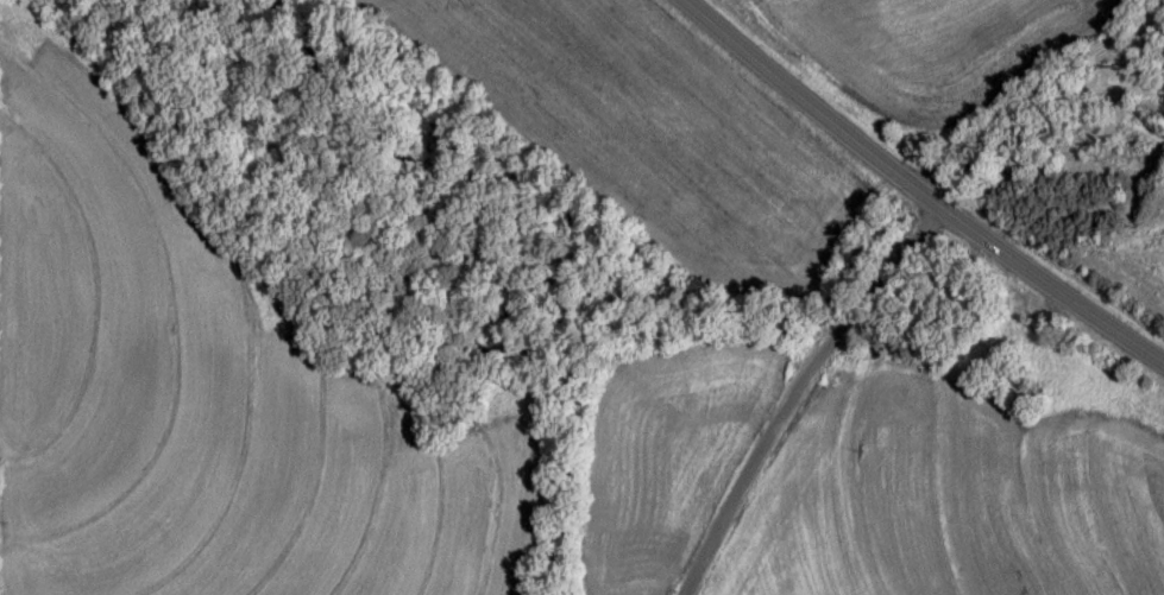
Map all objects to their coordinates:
road: (916, 186)
road: (800, 388)

